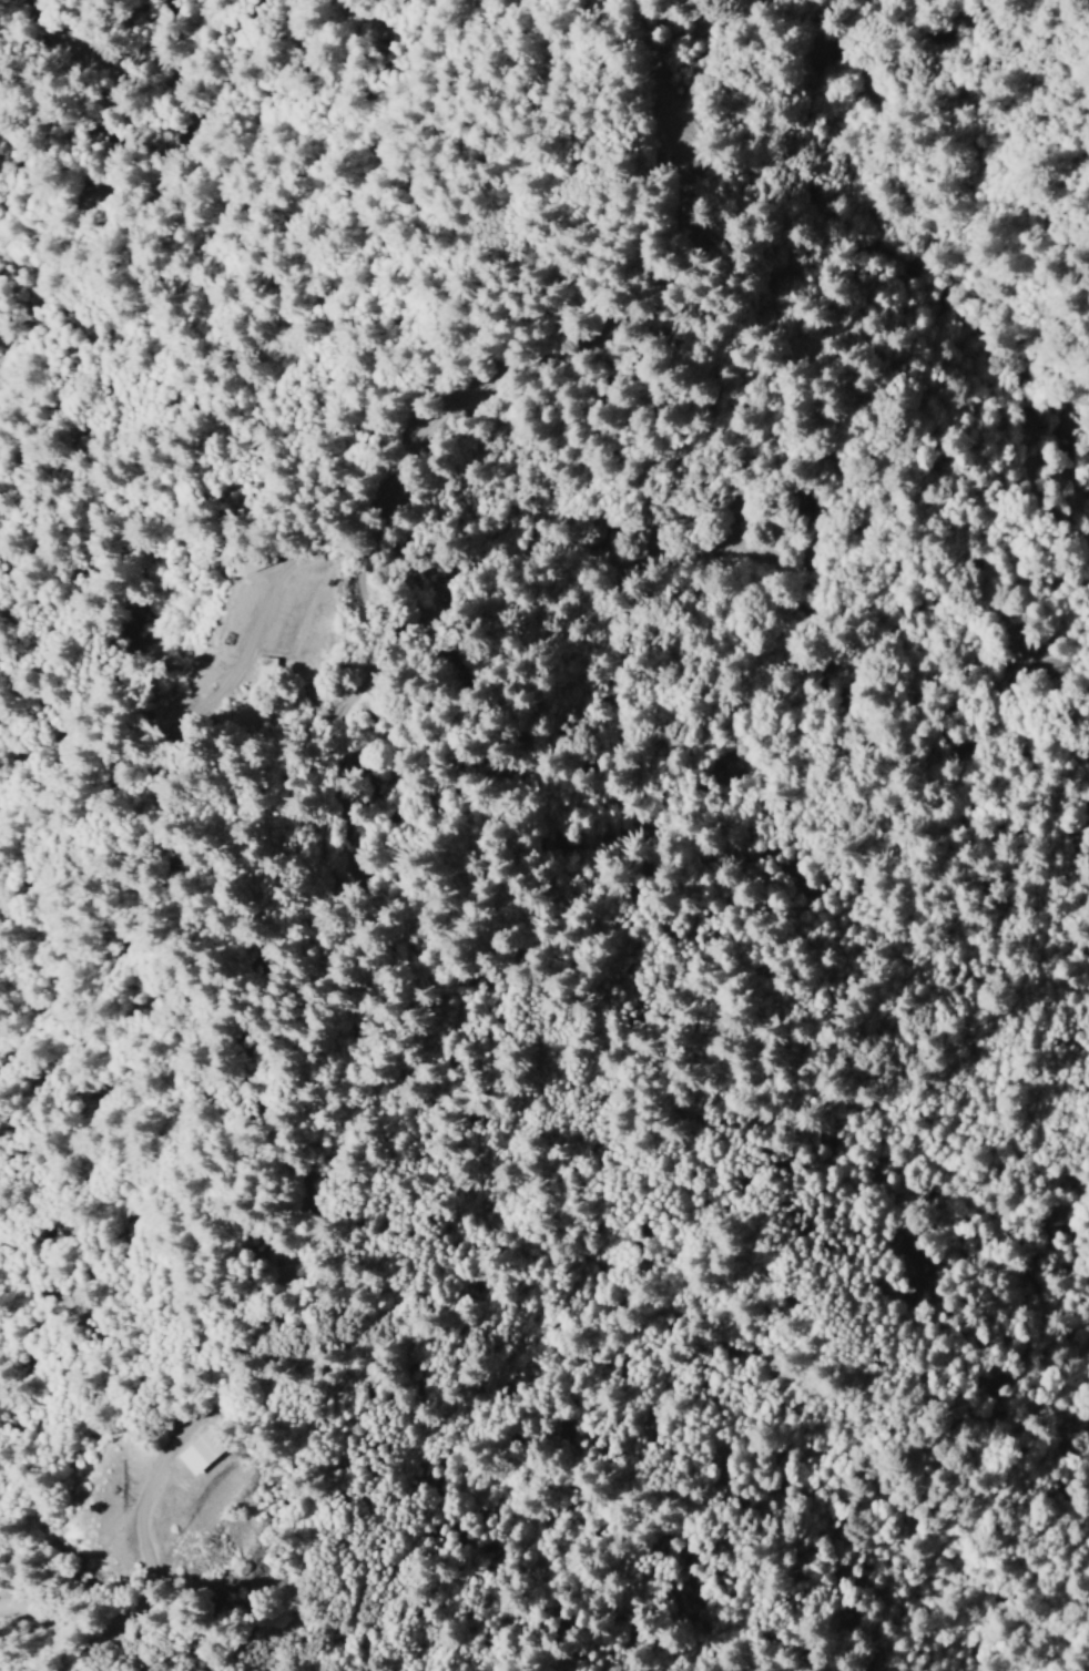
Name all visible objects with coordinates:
building: (261, 563)
building: (267, 668)
building: (199, 1455)

